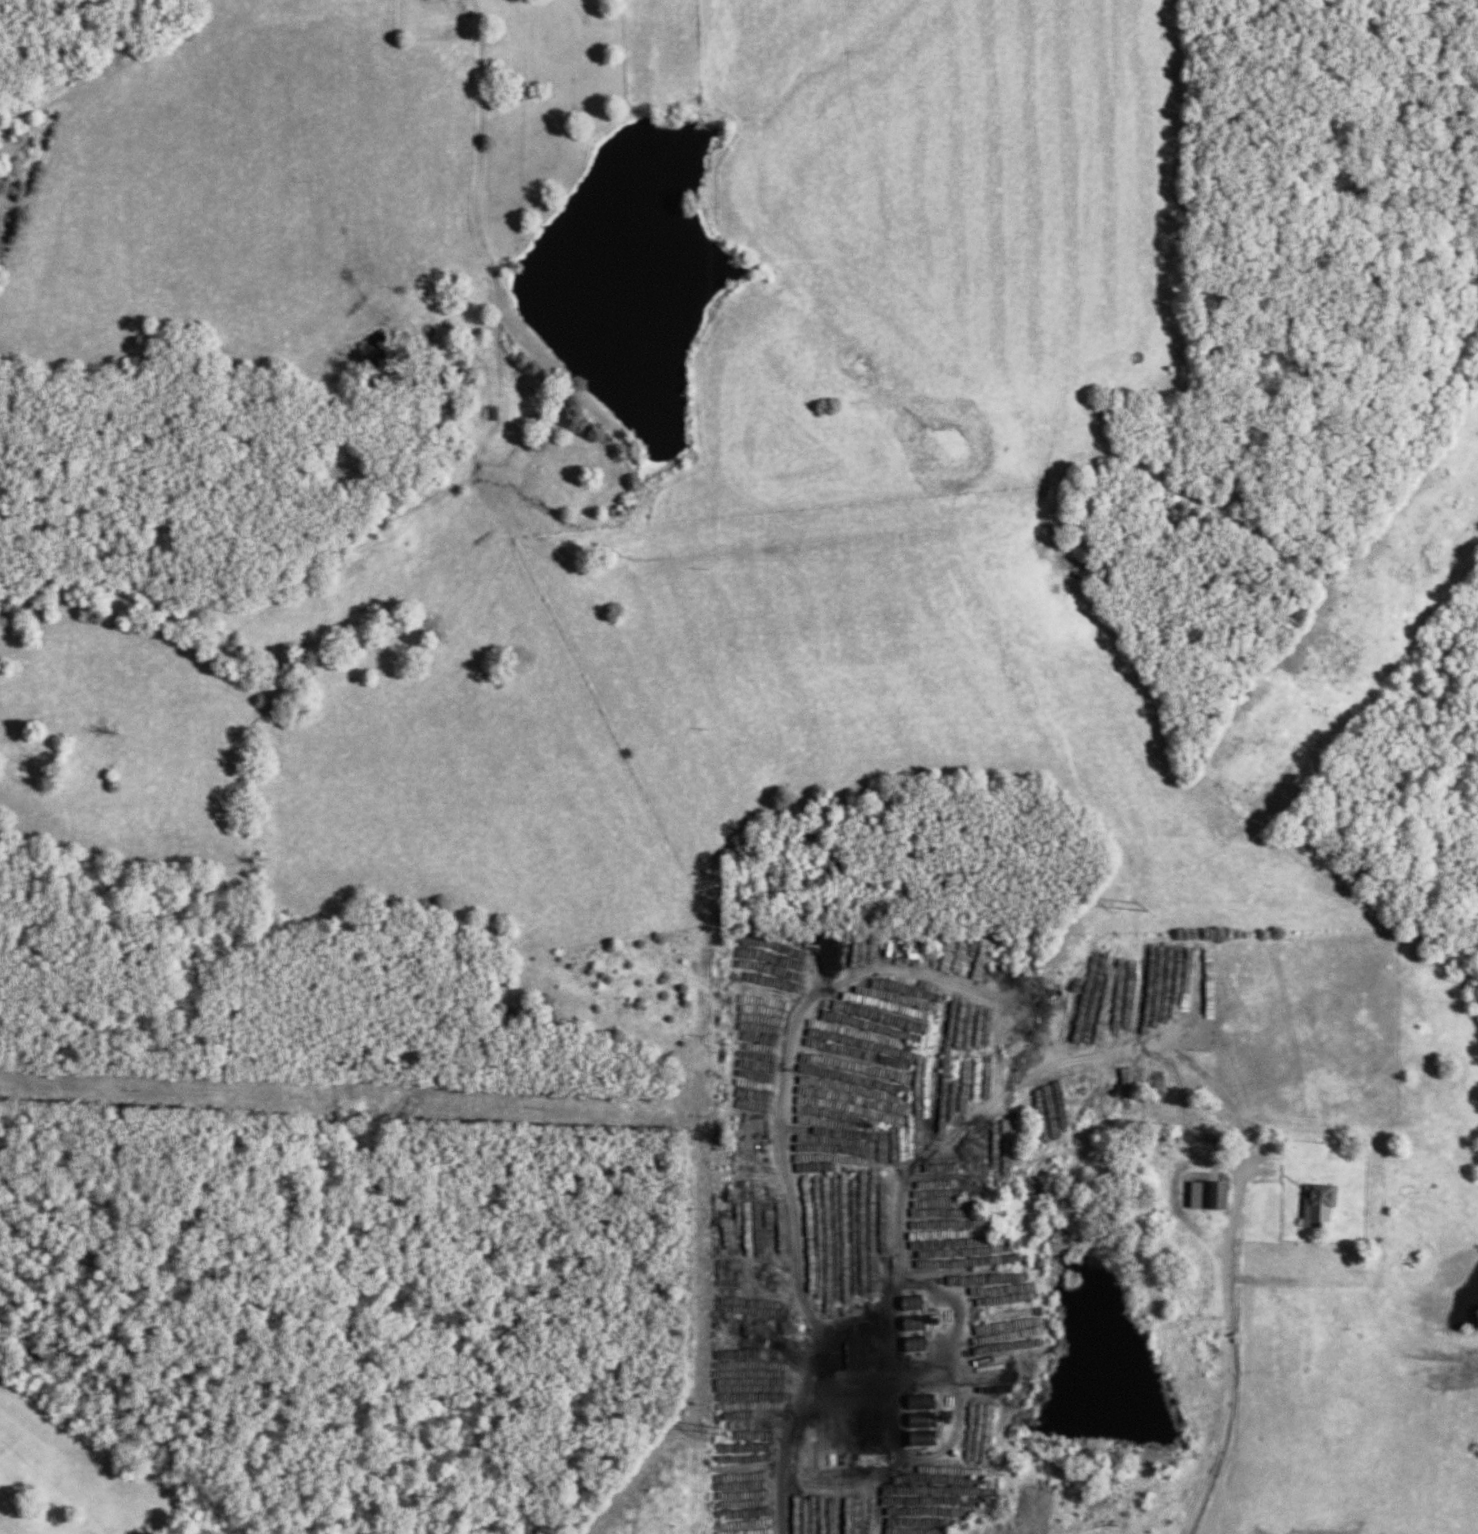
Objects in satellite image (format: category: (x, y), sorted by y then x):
road: (482, 184)
building: (480, 413)
power tower: (1138, 905)
building: (1270, 1175)
building: (1204, 1197)
building: (1314, 1205)
road: (1232, 1359)
power tower: (718, 1432)
road: (783, 1452)
building: (827, 1460)

